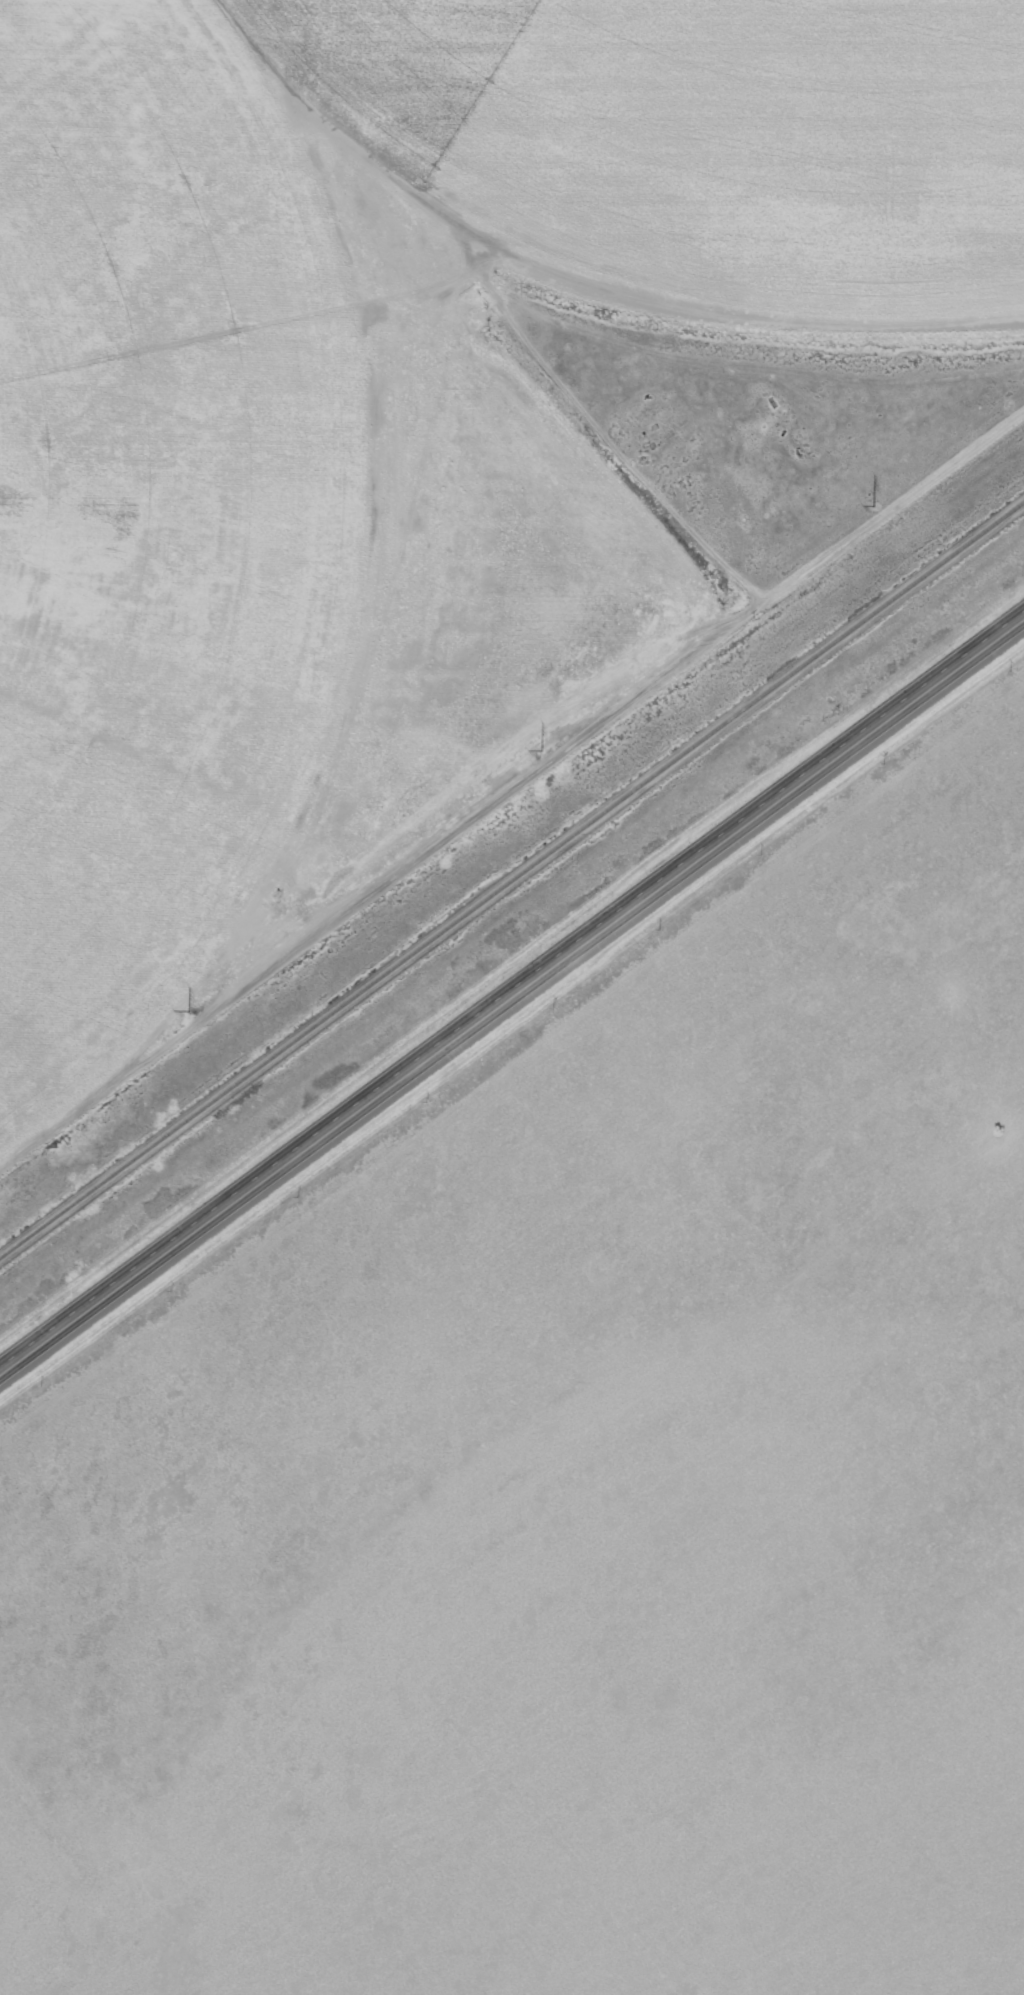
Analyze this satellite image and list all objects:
power tower: (873, 507)
power tower: (541, 750)
railway: (512, 882)
road: (512, 993)
power tower: (189, 1010)

